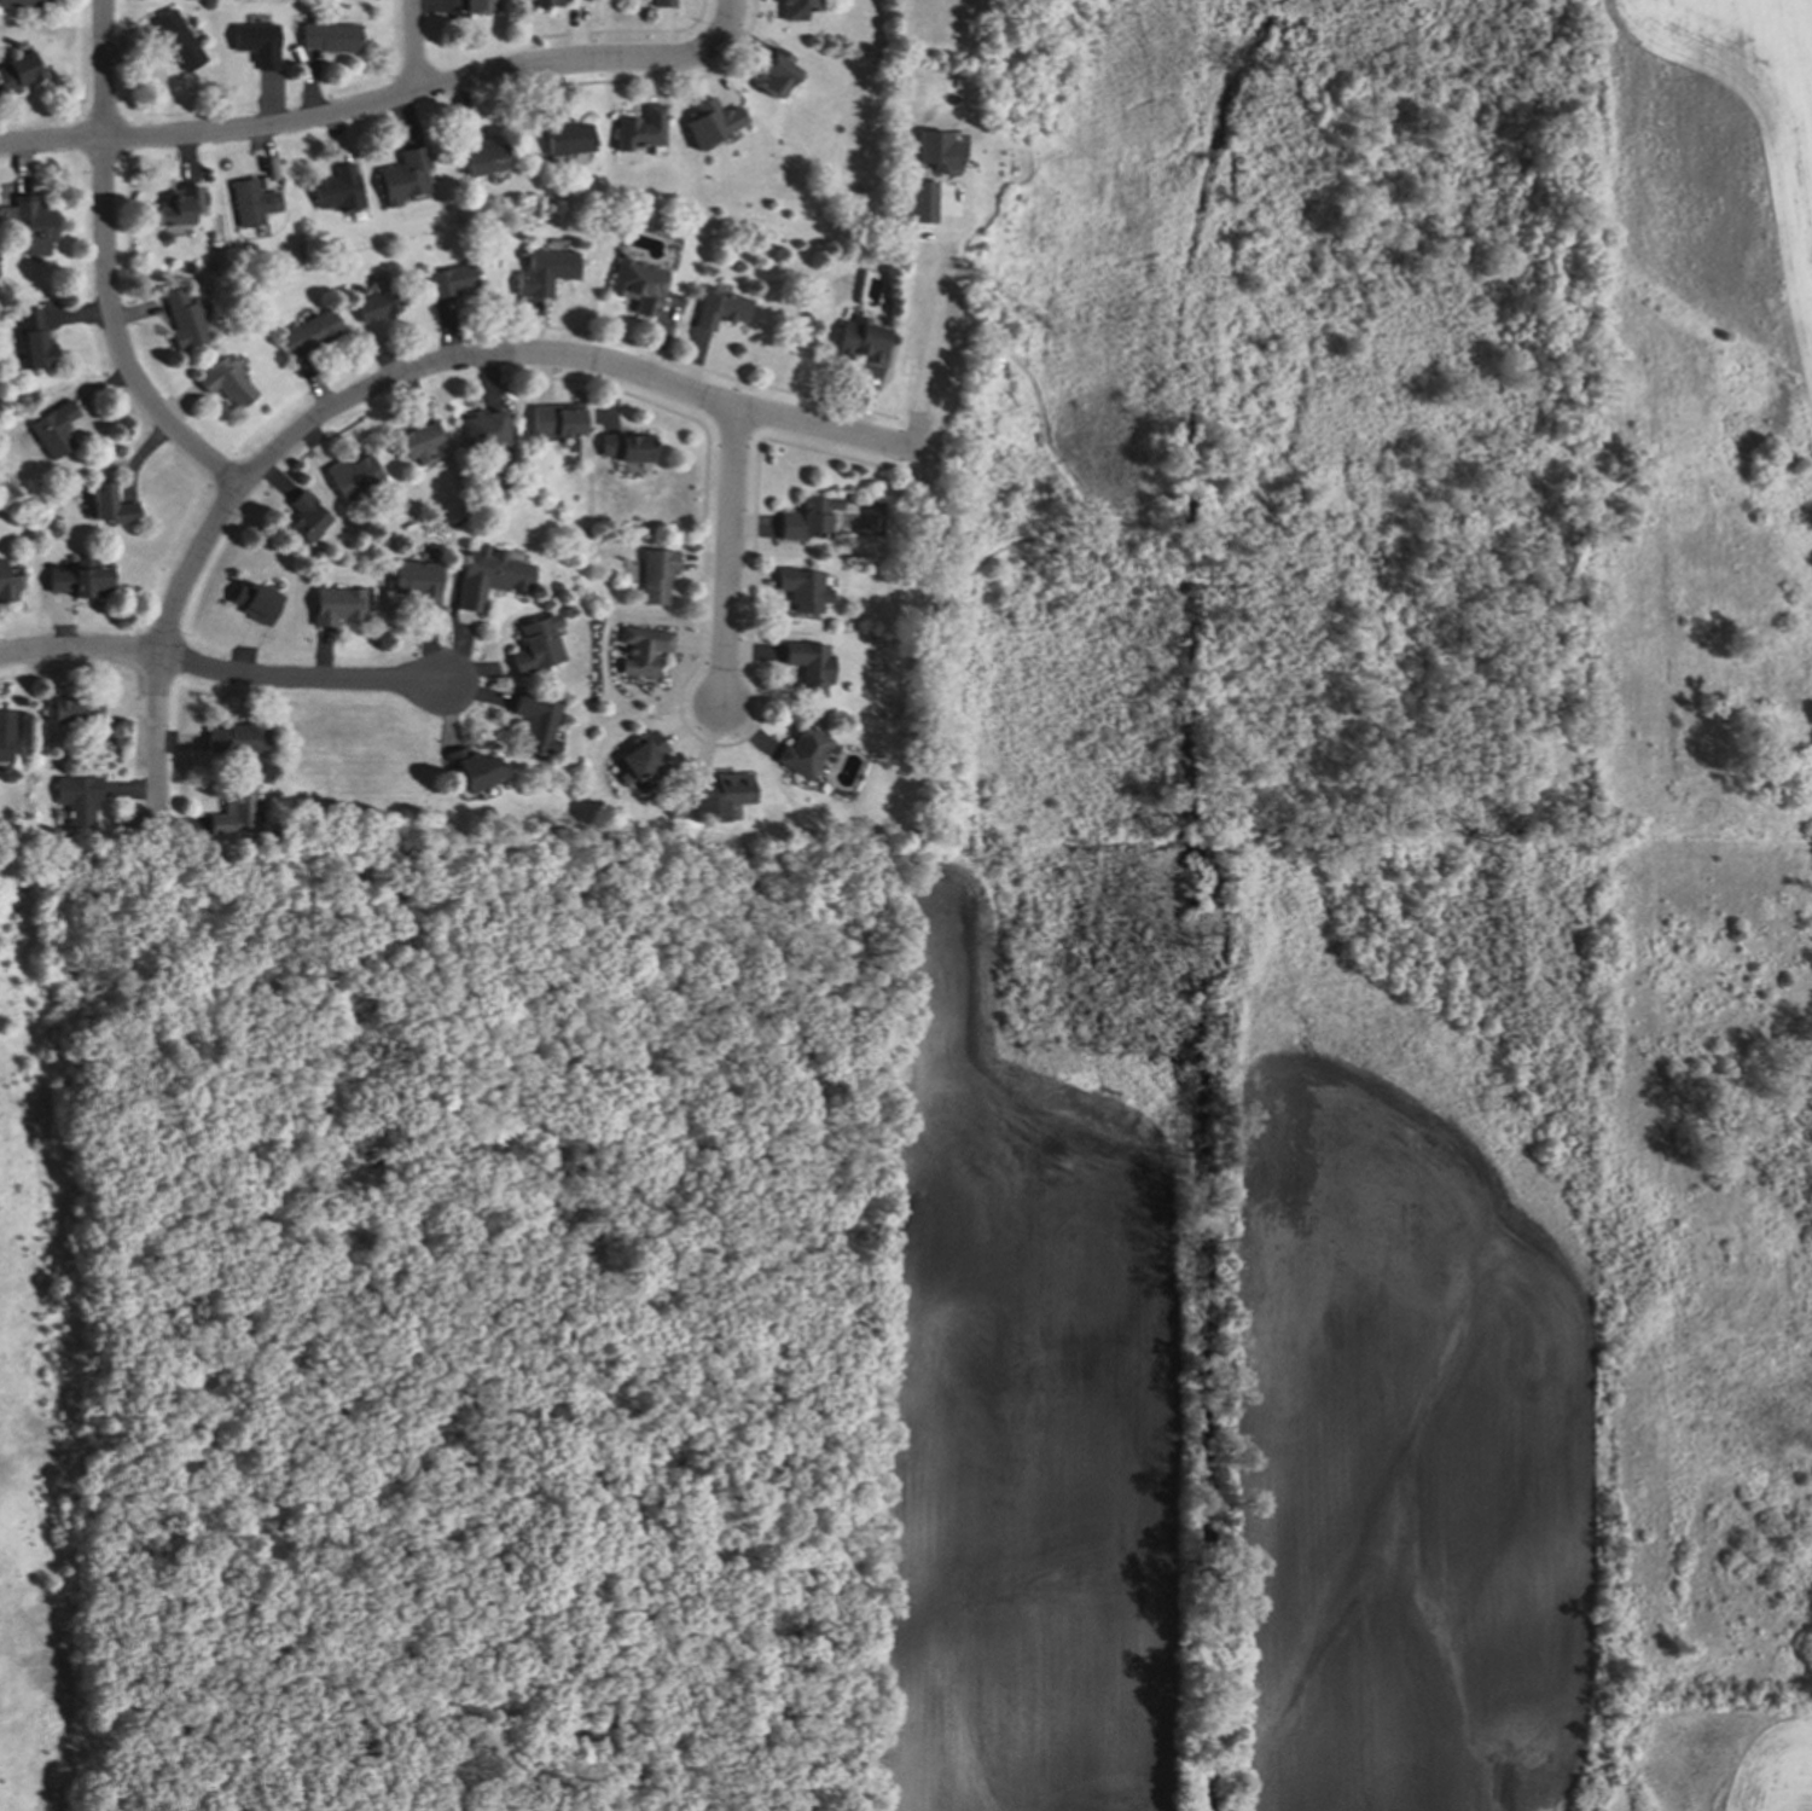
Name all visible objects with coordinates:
building: (21, 1)
building: (540, 4)
building: (660, 4)
building: (480, 5)
building: (788, 7)
building: (327, 35)
building: (176, 40)
building: (257, 42)
road: (410, 43)
building: (18, 69)
building: (769, 70)
road: (378, 98)
building: (708, 122)
building: (637, 126)
building: (562, 134)
building: (936, 151)
building: (475, 152)
building: (401, 175)
building: (332, 188)
building: (248, 202)
building: (922, 203)
building: (175, 207)
building: (34, 225)
building: (820, 250)
road: (110, 268)
building: (541, 272)
building: (446, 280)
building: (634, 284)
building: (372, 301)
building: (719, 306)
building: (181, 319)
building: (312, 329)
building: (860, 338)
building: (31, 343)
road: (927, 347)
building: (222, 381)
road: (388, 383)
building: (558, 420)
building: (51, 429)
building: (480, 431)
building: (418, 439)
building: (629, 448)
building: (33, 449)
building: (352, 477)
building: (77, 492)
building: (105, 501)
building: (806, 515)
building: (304, 516)
road: (732, 559)
building: (658, 573)
building: (488, 575)
building: (80, 579)
building: (417, 582)
building: (5, 585)
building: (802, 587)
building: (254, 600)
building: (335, 604)
building: (535, 645)
building: (644, 649)
building: (807, 663)
road: (222, 671)
building: (71, 710)
building: (533, 721)
building: (7, 733)
building: (238, 737)
building: (801, 749)
building: (644, 758)
building: (469, 768)
building: (719, 794)
building: (77, 797)
building: (57, 814)
building: (231, 814)

